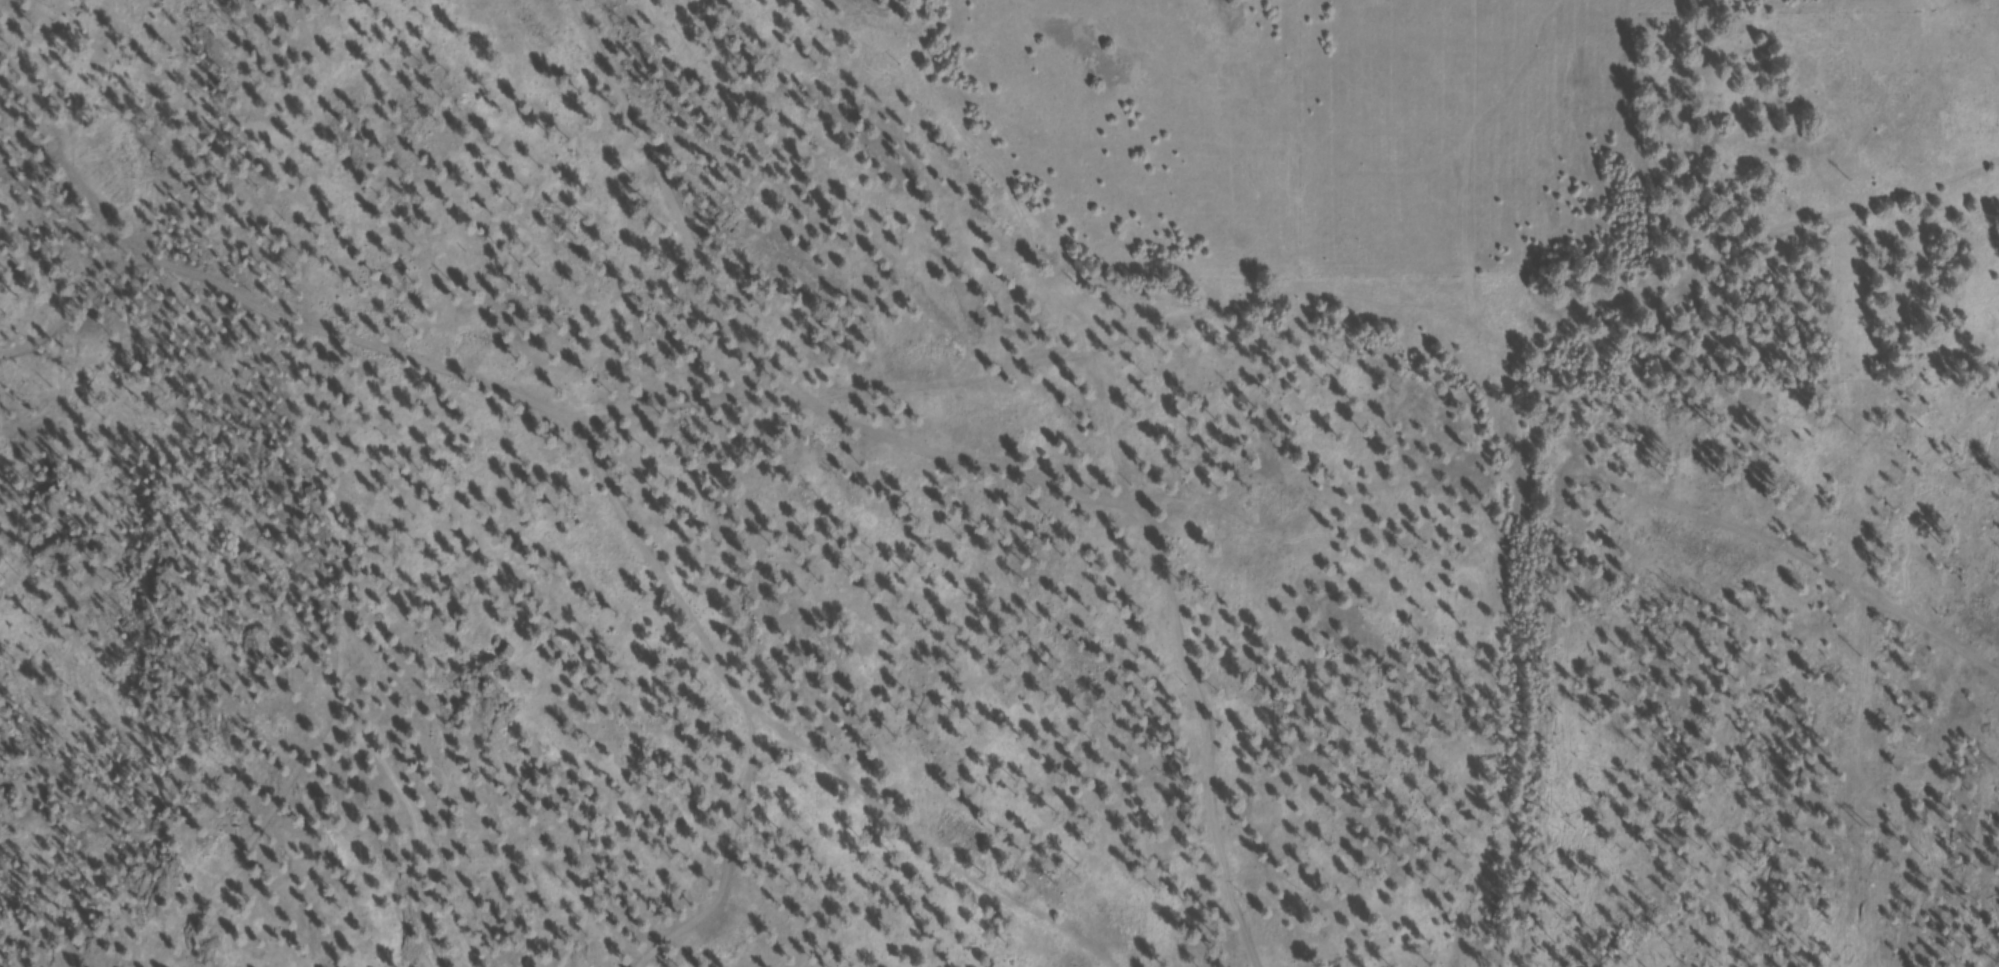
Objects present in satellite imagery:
road: (535, 402)
road: (1303, 480)

